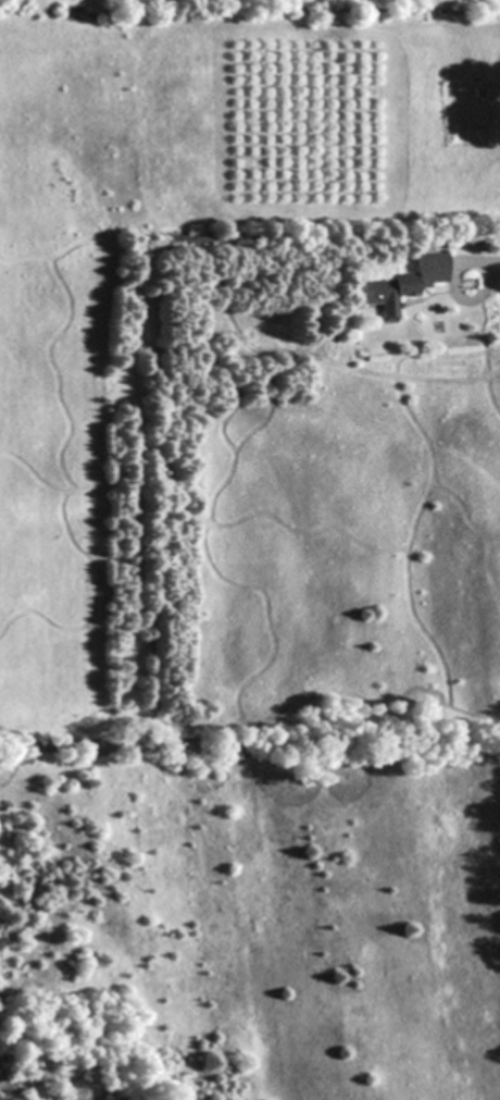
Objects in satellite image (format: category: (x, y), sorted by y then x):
building: (405, 284)
building: (468, 284)
road: (451, 292)

